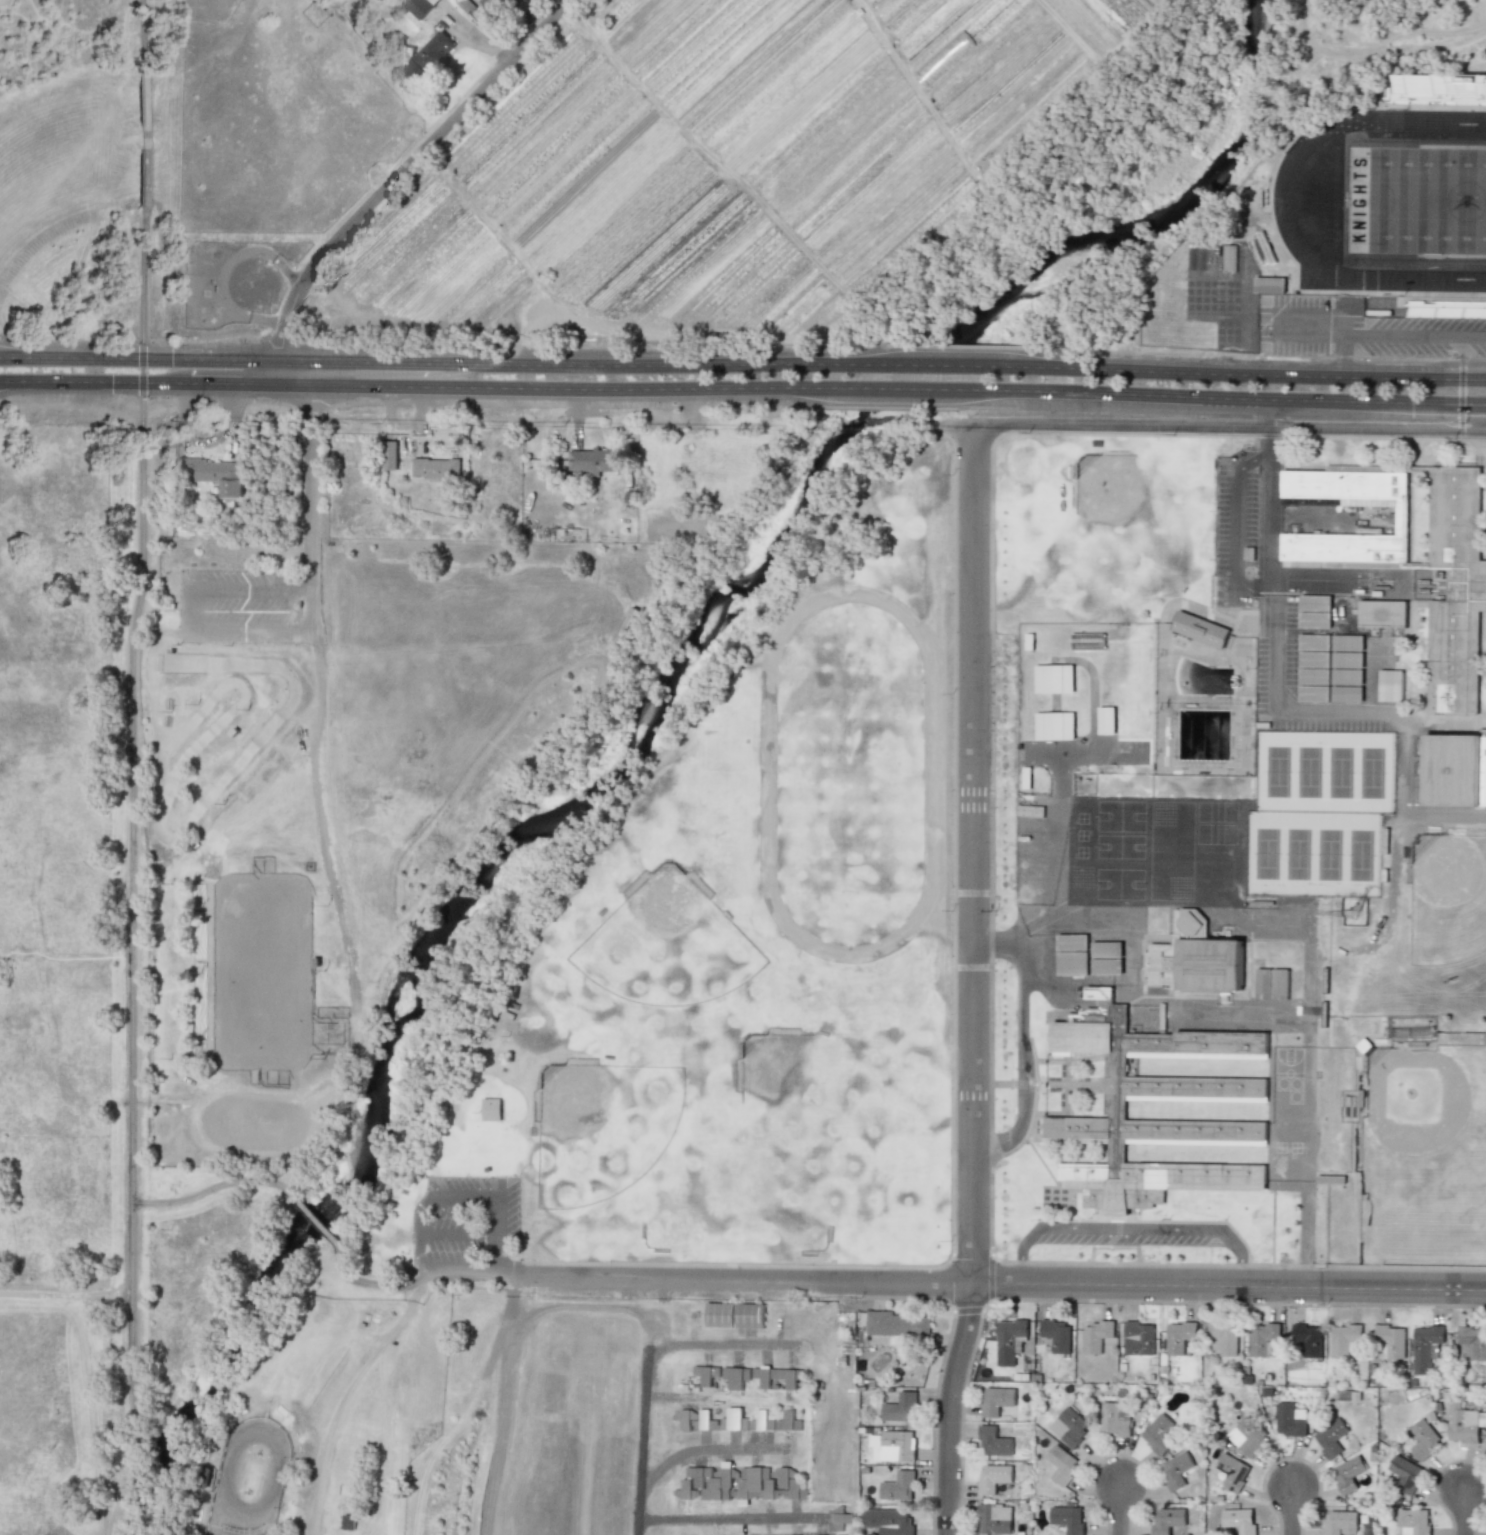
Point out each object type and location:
building: (419, 6)
building: (428, 57)
building: (1435, 89)
road: (400, 169)
road: (140, 190)
track: (1395, 200)
park: (1416, 200)
track: (1386, 201)
track: (1281, 204)
building: (1228, 257)
building: (1268, 285)
road: (1315, 328)
road: (1392, 335)
road: (1459, 357)
traffic signals: (141, 360)
road: (146, 360)
road: (366, 362)
road: (655, 365)
road: (932, 365)
road: (301, 373)
road: (1240, 373)
traffic signals: (1459, 378)
road: (91, 380)
traffic signals: (141, 381)
road: (246, 383)
road: (910, 388)
road: (578, 389)
road: (1229, 397)
road: (1459, 403)
traffic signals: (1459, 404)
road: (637, 411)
road: (1268, 412)
road: (1212, 425)
road: (576, 427)
building: (388, 455)
building: (594, 459)
building: (435, 468)
building: (217, 474)
crop: (451, 548)
road: (1311, 572)
building: (1449, 579)
road: (1266, 581)
building: (1314, 602)
road: (192, 609)
building: (1381, 613)
building: (1314, 619)
building: (1200, 629)
building: (1314, 642)
building: (1347, 643)
building: (1314, 659)
building: (1347, 659)
building: (1313, 676)
building: (1346, 676)
building: (1053, 678)
building: (1389, 685)
building: (1313, 693)
building: (1346, 693)
road: (1278, 700)
building: (1106, 720)
road: (320, 722)
building: (1053, 725)
road: (950, 762)
track: (851, 770)
building: (1455, 770)
road: (1404, 797)
road: (945, 799)
road: (1268, 928)
building: (1071, 941)
park: (734, 944)
building: (1105, 949)
road: (129, 957)
building: (1194, 958)
building: (1071, 962)
building: (1106, 966)
road: (976, 980)
building: (1262, 983)
building: (1279, 983)
road: (1241, 1010)
road: (1018, 1038)
building: (1185, 1089)
building: (491, 1109)
park: (1425, 1157)
road: (949, 1181)
road: (208, 1192)
road: (312, 1219)
road: (1130, 1228)
road: (1000, 1276)
road: (419, 1277)
road: (514, 1285)
road: (65, 1294)
building: (734, 1315)
building: (896, 1323)
building: (1056, 1334)
building: (1095, 1335)
building: (1178, 1336)
building: (1137, 1338)
building: (1222, 1338)
building: (1308, 1338)
building: (1263, 1339)
building: (1344, 1339)
building: (1009, 1340)
building: (1473, 1340)
building: (1390, 1341)
building: (1425, 1346)
airport taxiway: (646, 1370)
building: (705, 1374)
building: (735, 1376)
building: (774, 1377)
building: (996, 1400)
building: (899, 1407)
road: (504, 1415)
building: (1115, 1418)
building: (694, 1419)
building: (1290, 1419)
building: (745, 1421)
building: (1463, 1421)
building: (787, 1422)
building: (1069, 1426)
building: (1157, 1433)
building: (1247, 1435)
building: (1330, 1438)
building: (1421, 1439)
building: (993, 1441)
building: (1485, 1441)
building: (896, 1445)
airport taxiway: (703, 1446)
building: (1061, 1463)
building: (1175, 1470)
building: (1232, 1471)
building: (1405, 1472)
building: (1347, 1473)
building: (993, 1477)
building: (711, 1482)
building: (786, 1483)
building: (754, 1484)
building: (898, 1486)
building: (683, 1490)
road: (1121, 1507)
road: (1293, 1509)
road: (1467, 1510)
building: (994, 1518)
building: (1067, 1518)
airport taxiway: (731, 1519)
building: (842, 1519)
building: (1166, 1519)
building: (1239, 1519)
building: (889, 1520)
building: (1413, 1521)
building: (1339, 1522)
building: (820, 1532)
building: (267, 1533)

